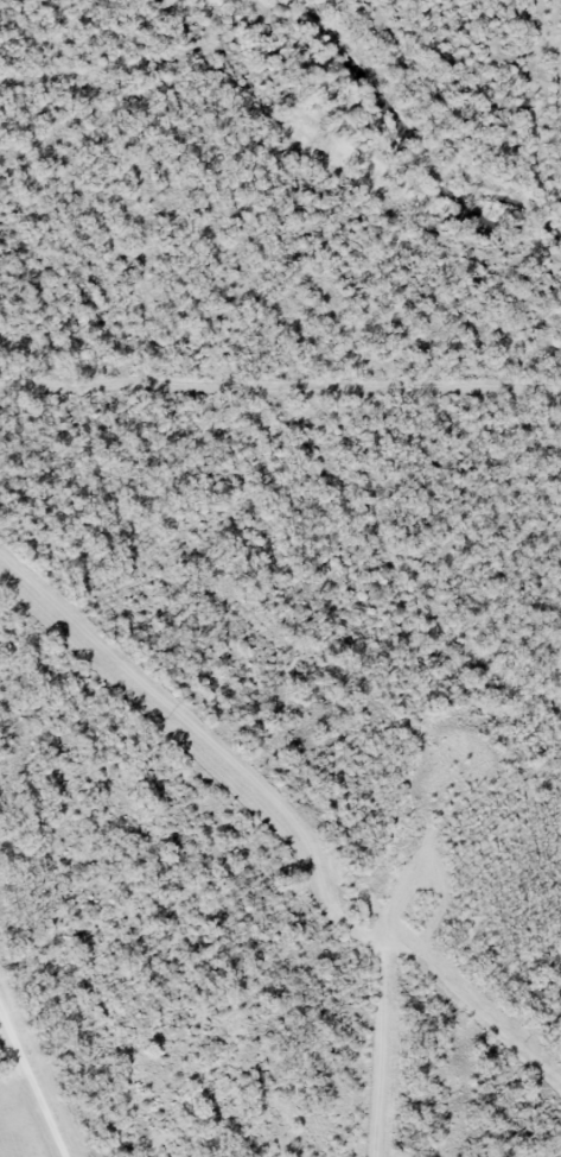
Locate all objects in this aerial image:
road: (32, 1081)

